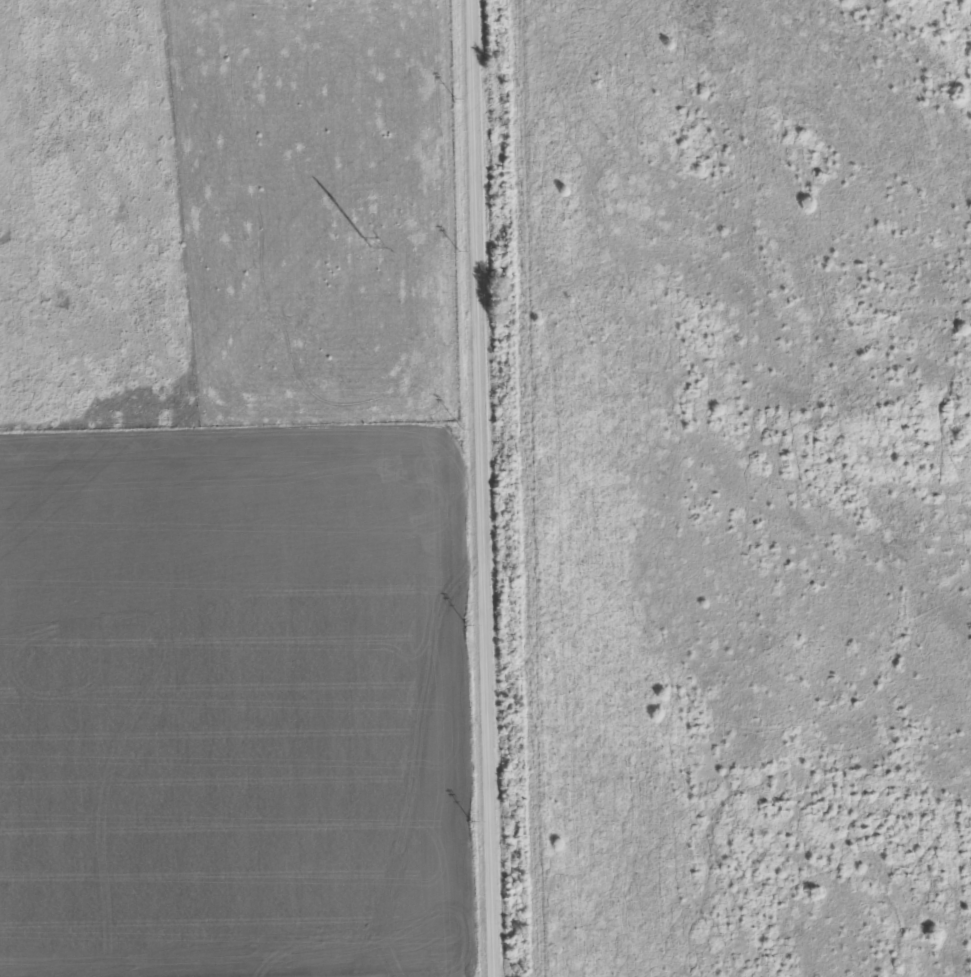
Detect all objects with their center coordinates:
power tower: (365, 241)
road: (483, 488)

